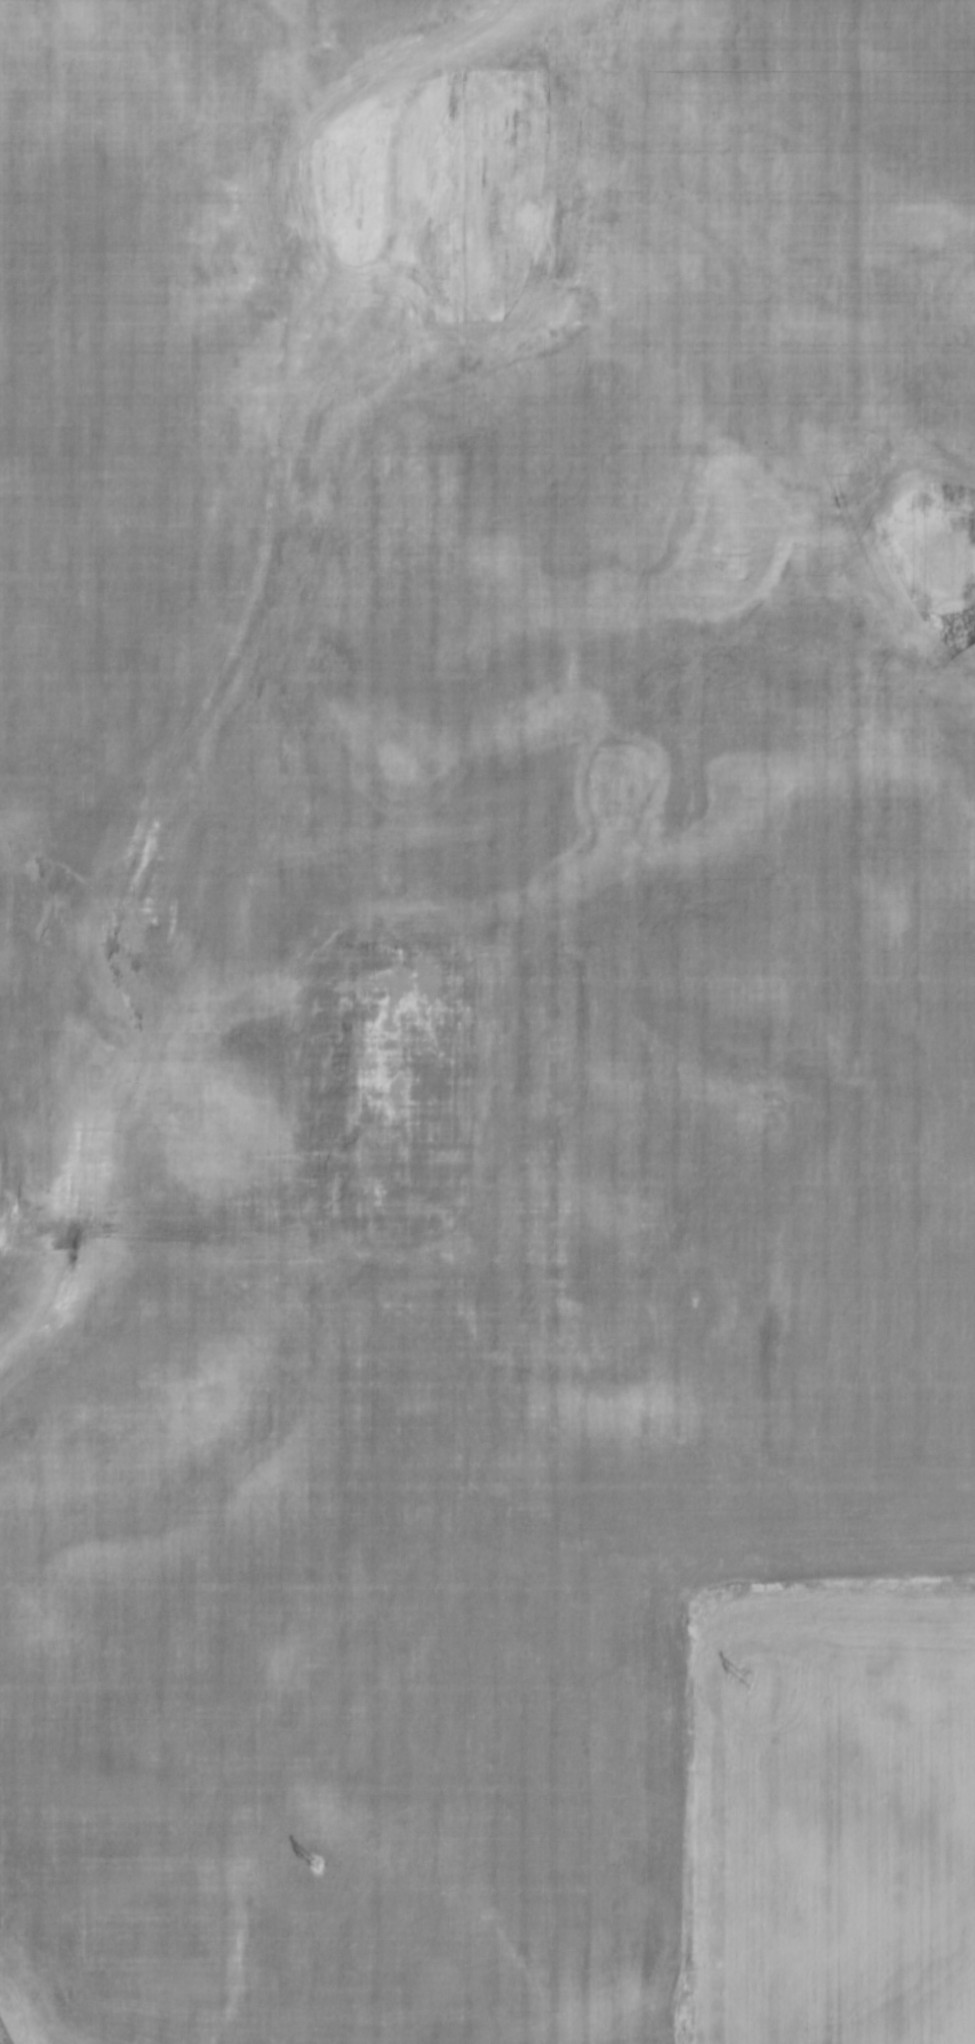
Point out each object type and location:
road: (243, 1223)
power tower: (744, 1677)
power tower: (315, 1862)

